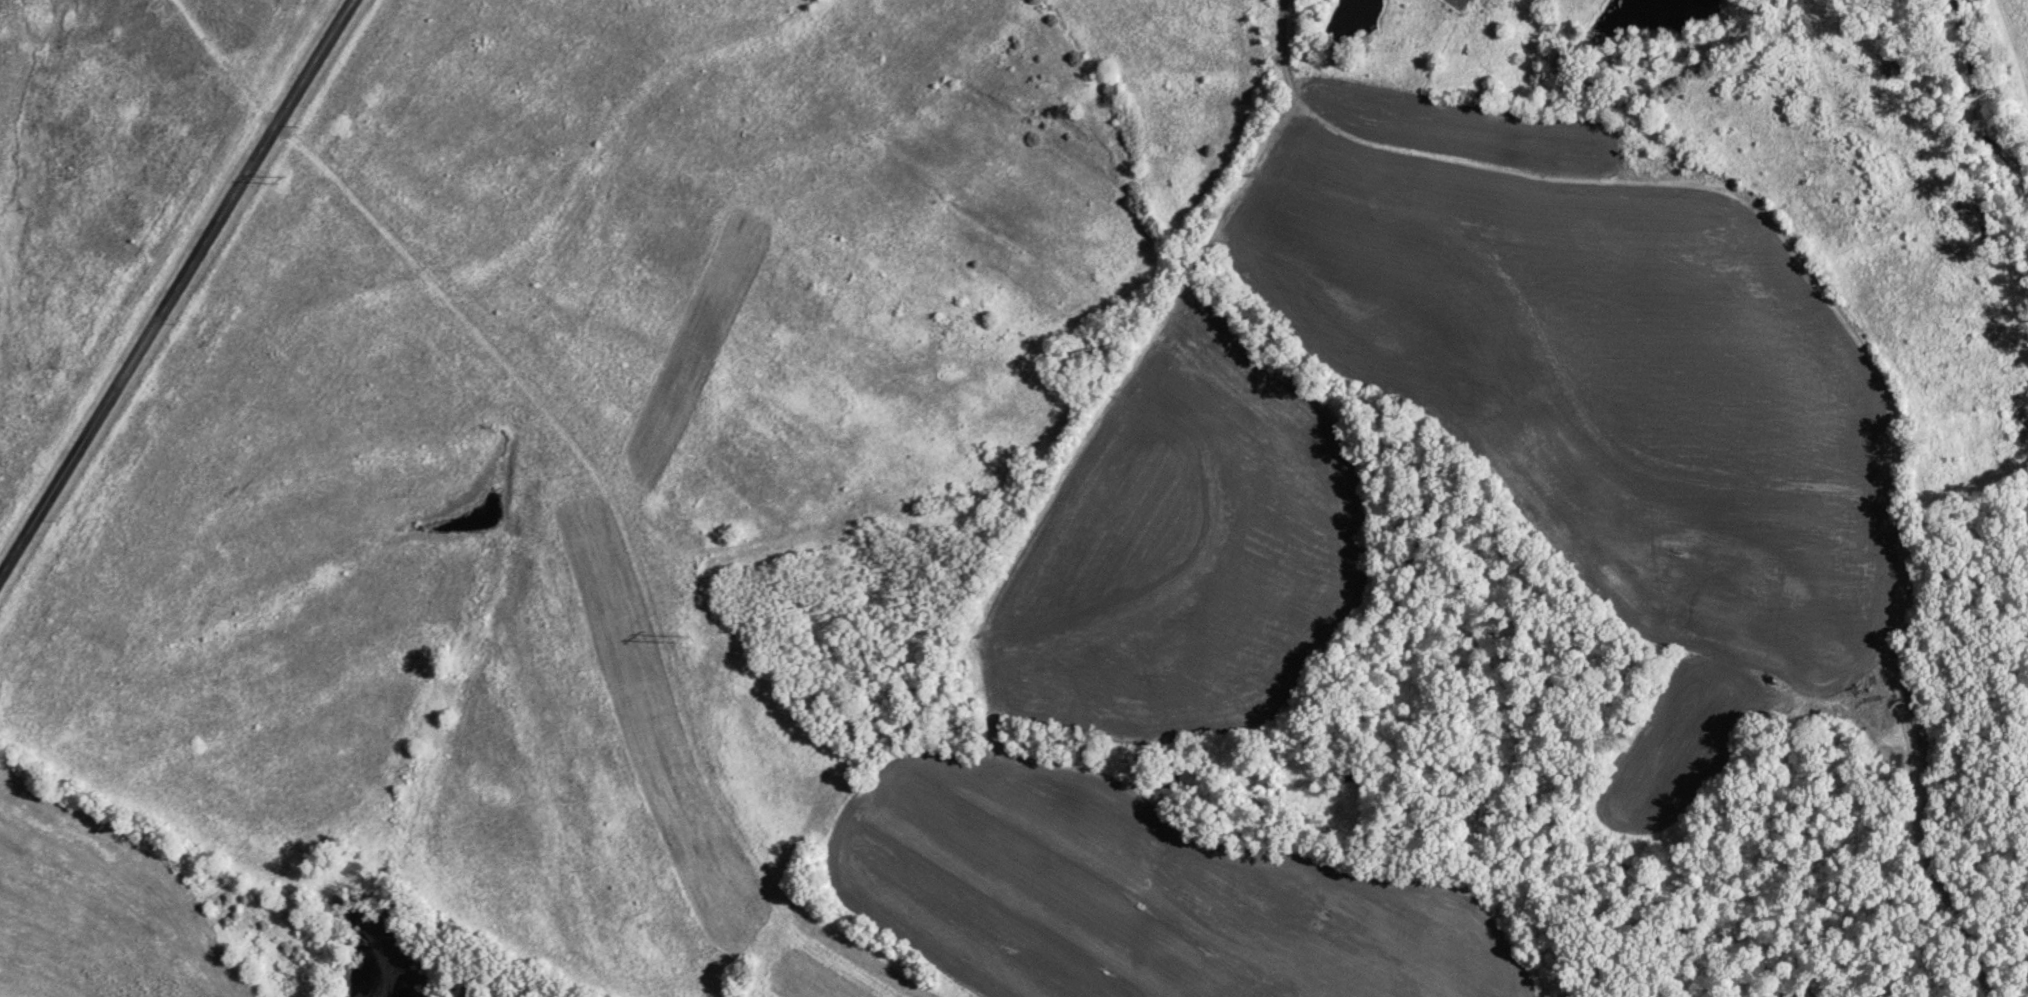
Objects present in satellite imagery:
road: (178, 291)

